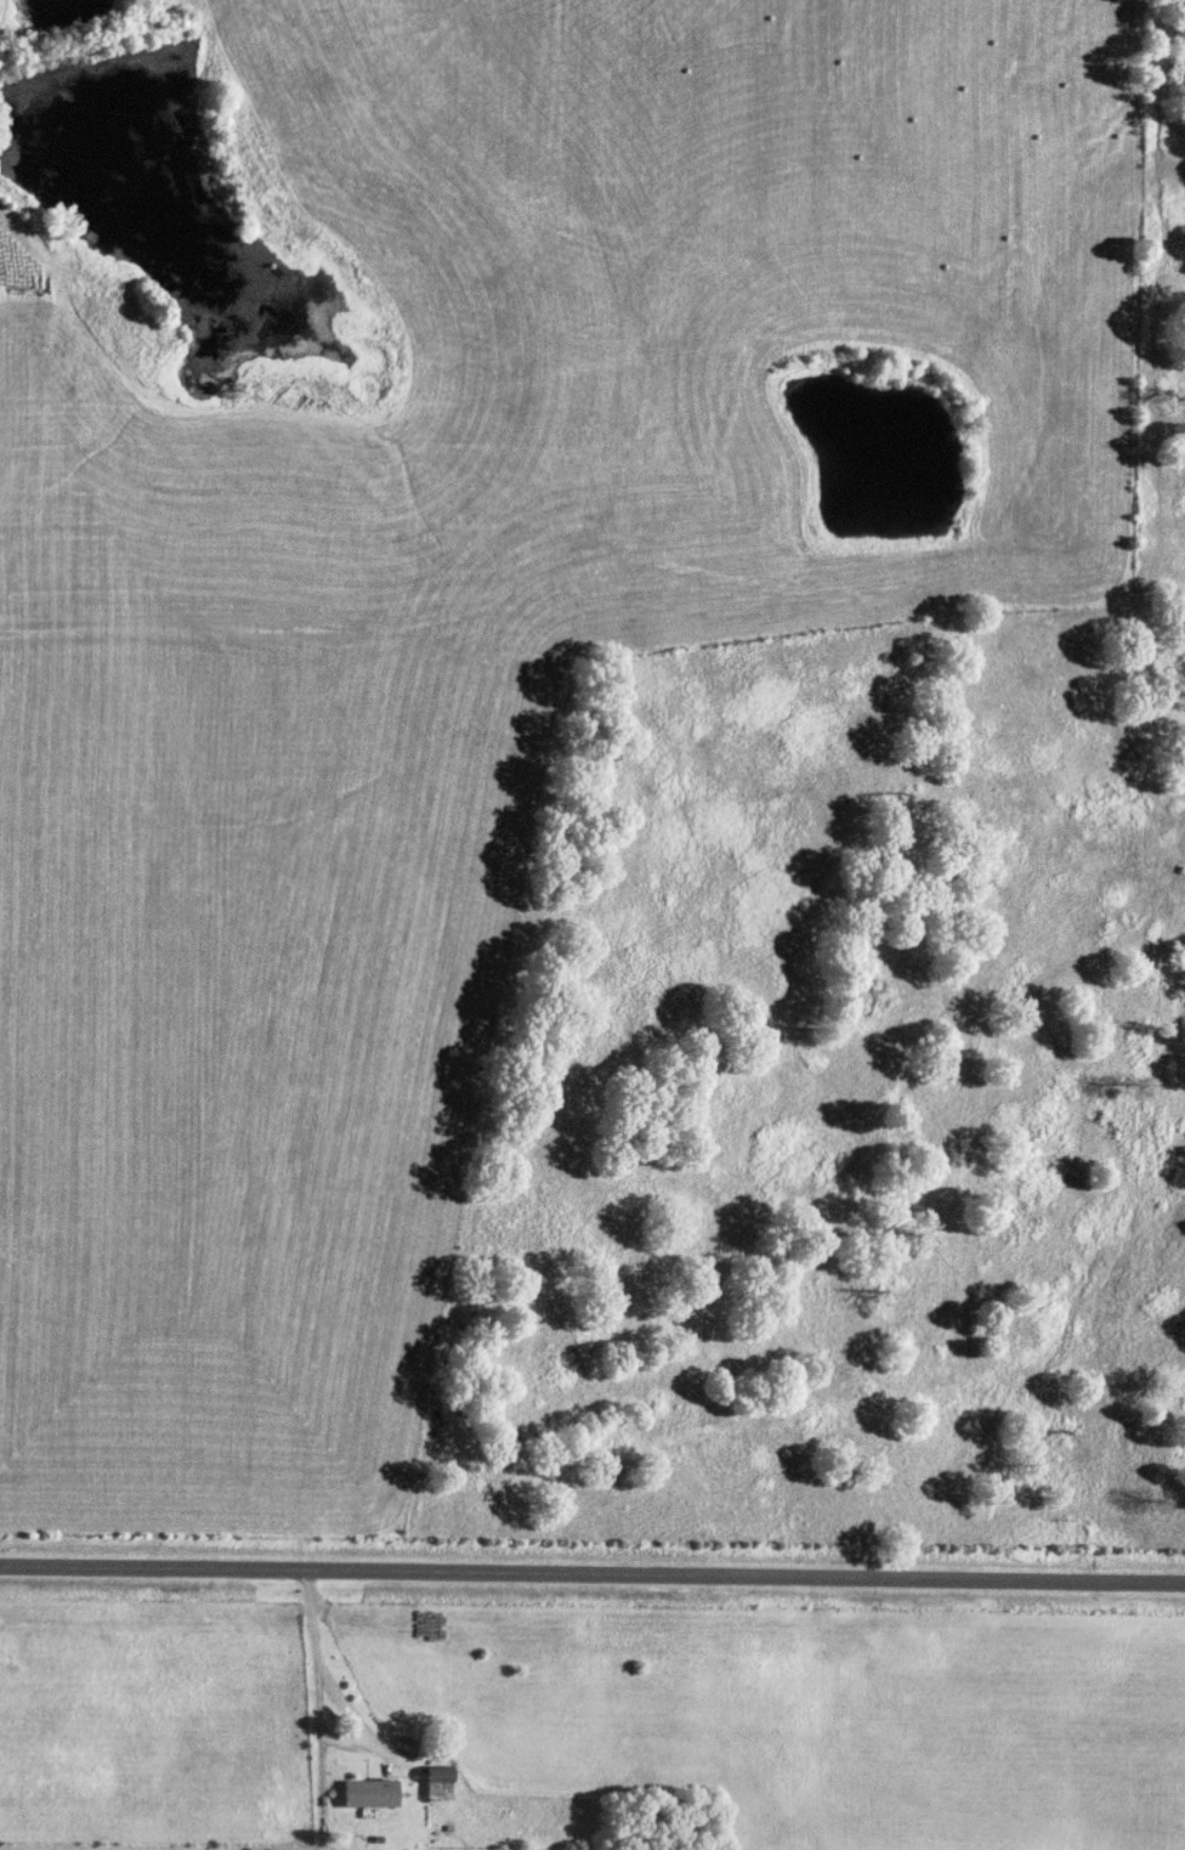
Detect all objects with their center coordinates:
road: (592, 1577)
building: (441, 1775)
building: (372, 1793)

